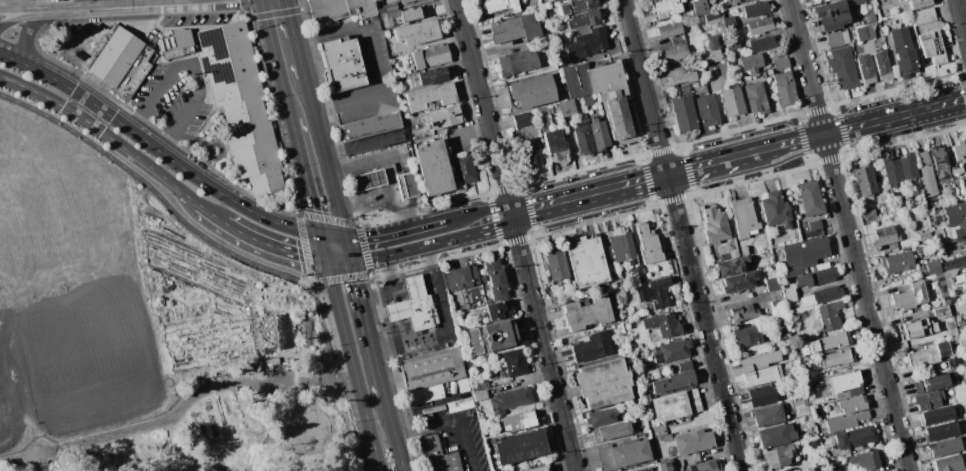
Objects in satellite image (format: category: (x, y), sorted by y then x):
building: (694, 0)
building: (906, 0)
road: (178, 1)
building: (406, 1)
building: (556, 1)
building: (857, 1)
building: (546, 2)
building: (734, 2)
road: (92, 3)
road: (136, 3)
building: (919, 4)
building: (501, 6)
building: (577, 6)
building: (386, 7)
building: (666, 7)
building: (701, 7)
road: (15, 8)
road: (40, 8)
building: (340, 9)
building: (755, 9)
building: (828, 9)
road: (962, 12)
building: (410, 14)
building: (923, 16)
road: (14, 18)
building: (391, 18)
building: (583, 20)
building: (713, 20)
building: (847, 20)
building: (831, 22)
building: (730, 24)
building: (759, 27)
building: (515, 30)
building: (670, 30)
building: (418, 33)
building: (865, 33)
road: (28, 34)
building: (386, 34)
road: (296, 35)
building: (733, 37)
building: (900, 39)
building: (837, 40)
building: (592, 42)
building: (713, 42)
rooftop solar panel: (214, 43)
building: (179, 44)
building: (762, 44)
building: (733, 45)
building: (932, 47)
building: (778, 52)
rooftop solar panel: (227, 53)
building: (676, 53)
building: (430, 56)
building: (714, 56)
rooftop solar panel: (79, 57)
building: (111, 58)
road: (18, 59)
road: (278, 60)
building: (518, 62)
building: (752, 62)
road: (373, 63)
parking lot: (377, 63)
building: (780, 63)
building: (906, 63)
building: (342, 64)
building: (882, 66)
road: (195, 67)
building: (843, 68)
building: (703, 69)
building: (709, 69)
building: (865, 70)
rooftop solar panel: (215, 71)
rooftop solar panel: (226, 73)
building: (430, 76)
building: (682, 78)
road: (65, 84)
building: (784, 89)
building: (533, 91)
road: (43, 94)
building: (431, 97)
building: (608, 97)
parking lot: (177, 98)
building: (756, 98)
building: (588, 101)
building: (732, 102)
building: (241, 106)
road: (484, 107)
building: (567, 108)
road: (89, 109)
building: (406, 110)
building: (707, 110)
building: (684, 114)
road: (114, 115)
building: (445, 117)
road: (896, 117)
building: (544, 118)
building: (595, 119)
building: (522, 120)
building: (371, 126)
road: (470, 134)
building: (415, 135)
building: (599, 136)
building: (583, 138)
road: (804, 141)
building: (555, 146)
building: (531, 152)
rooftop solar panel: (534, 152)
building: (959, 152)
road: (759, 153)
road: (326, 156)
rooftop solar panel: (535, 159)
road: (140, 160)
building: (938, 162)
building: (951, 163)
road: (387, 167)
building: (433, 167)
road: (703, 167)
building: (907, 167)
building: (464, 169)
building: (891, 171)
building: (956, 171)
building: (925, 174)
road: (306, 177)
building: (369, 180)
building: (865, 182)
building: (963, 183)
road: (630, 185)
building: (407, 186)
road: (222, 190)
building: (811, 198)
road: (164, 200)
road: (366, 202)
road: (551, 205)
building: (775, 210)
road: (210, 213)
building: (868, 213)
building: (743, 217)
building: (957, 220)
road: (430, 225)
building: (815, 225)
building: (715, 226)
traffic signals: (321, 234)
road: (684, 235)
road: (851, 235)
building: (885, 235)
road: (333, 236)
building: (925, 237)
traffic signals: (346, 238)
building: (648, 244)
road: (435, 245)
road: (274, 246)
road: (324, 247)
building: (621, 247)
building: (964, 248)
building: (922, 249)
road: (349, 250)
building: (806, 252)
building: (607, 253)
building: (942, 253)
traffic signals: (327, 261)
road: (340, 261)
traffic signals: (353, 262)
building: (554, 263)
building: (586, 263)
building: (897, 263)
building: (953, 264)
building: (731, 265)
building: (933, 267)
building: (965, 268)
building: (922, 270)
building: (965, 271)
building: (615, 274)
building: (495, 276)
building: (647, 276)
building: (823, 276)
building: (462, 277)
building: (950, 277)
road: (356, 278)
building: (637, 278)
building: (738, 282)
building: (772, 284)
building: (617, 285)
road: (334, 287)
building: (654, 292)
building: (827, 294)
building: (789, 295)
crop: (69, 296)
building: (909, 296)
building: (946, 298)
building: (414, 306)
building: (778, 308)
building: (498, 311)
building: (586, 313)
building: (742, 313)
building: (830, 315)
building: (663, 324)
building: (927, 324)
road: (446, 325)
building: (746, 336)
building: (492, 337)
road: (544, 342)
building: (830, 342)
road: (375, 345)
building: (591, 347)
building: (667, 352)
building: (927, 355)
building: (838, 358)
building: (757, 362)
building: (955, 362)
building: (270, 364)
building: (513, 364)
building: (684, 364)
building: (431, 369)
building: (805, 370)
building: (762, 376)
building: (844, 381)
building: (673, 382)
building: (603, 383)
building: (935, 383)
building: (479, 386)
building: (855, 390)
road: (359, 394)
building: (425, 394)
building: (480, 395)
building: (762, 395)
building: (510, 400)
building: (928, 400)
building: (805, 403)
building: (675, 405)
building: (851, 405)
road: (177, 409)
building: (768, 415)
building: (937, 415)
building: (601, 417)
building: (846, 421)
building: (517, 422)
road: (453, 425)
building: (941, 431)
building: (612, 432)
road: (397, 434)
building: (776, 435)
building: (855, 437)
building: (665, 438)
parking lot: (466, 439)
building: (692, 442)
building: (816, 446)
building: (520, 447)
building: (945, 447)
building: (670, 451)
building: (624, 454)
building: (438, 456)
building: (777, 457)
building: (868, 459)
building: (949, 464)
building: (706, 466)
building: (832, 466)
building: (664, 467)
building: (538, 469)
building: (644, 469)
building: (503, 470)

